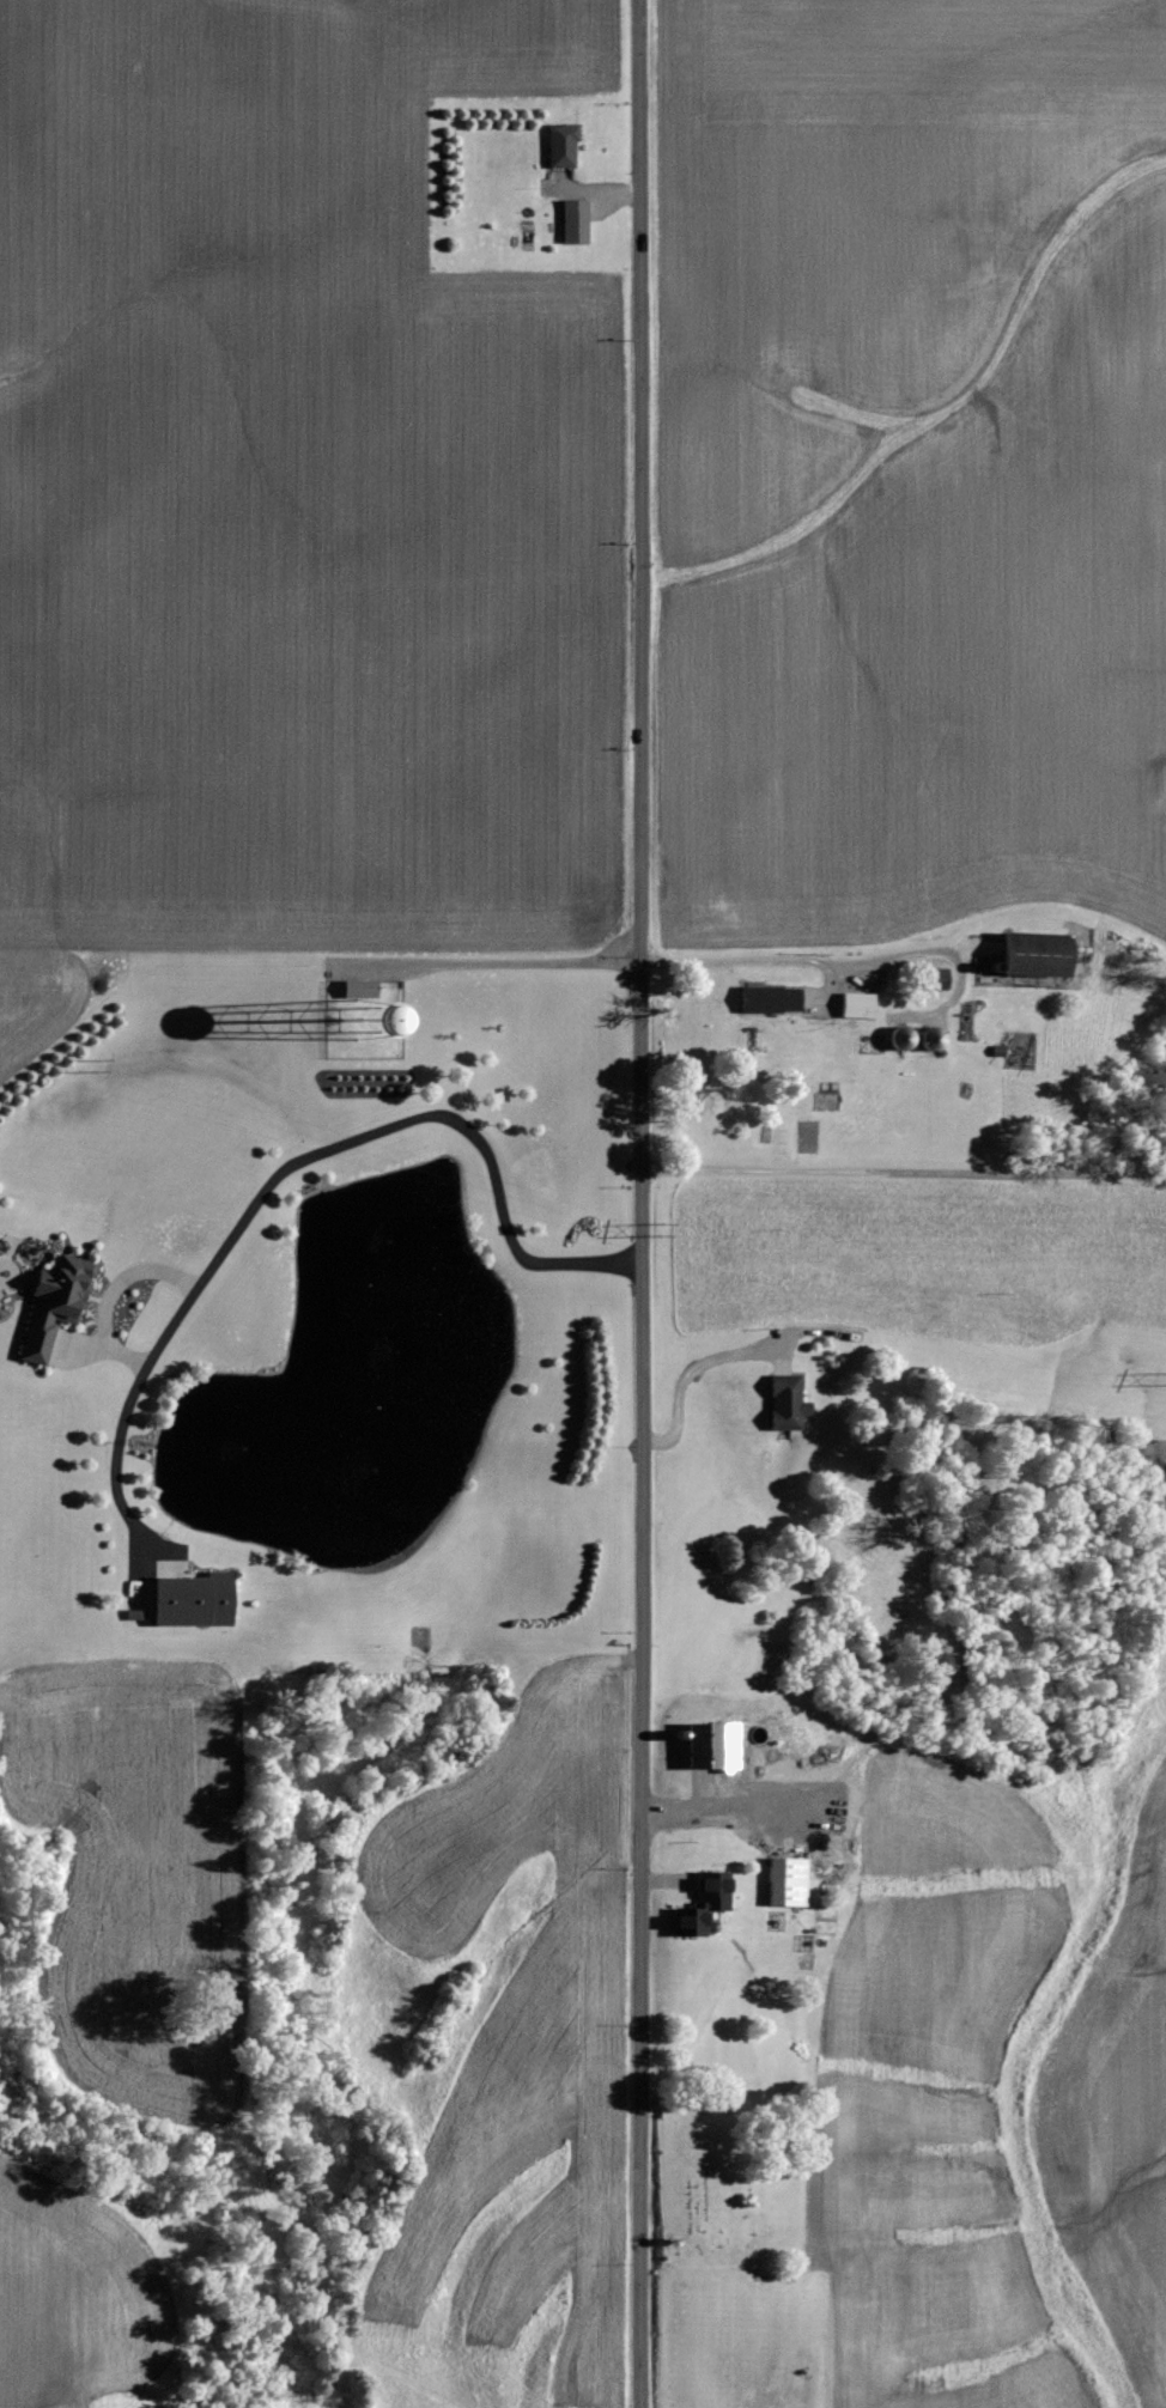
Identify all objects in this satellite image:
building: (559, 145)
building: (572, 223)
building: (1030, 956)
road: (488, 962)
building: (936, 980)
building: (359, 986)
building: (766, 1001)
building: (854, 1007)
water tower: (363, 1018)
power tower: (98, 1064)
road: (305, 1155)
road: (904, 1170)
road: (640, 1204)
power tower: (664, 1230)
building: (51, 1306)
road: (688, 1374)
building: (783, 1403)
building: (188, 1600)
building: (708, 1746)
building: (782, 1883)

